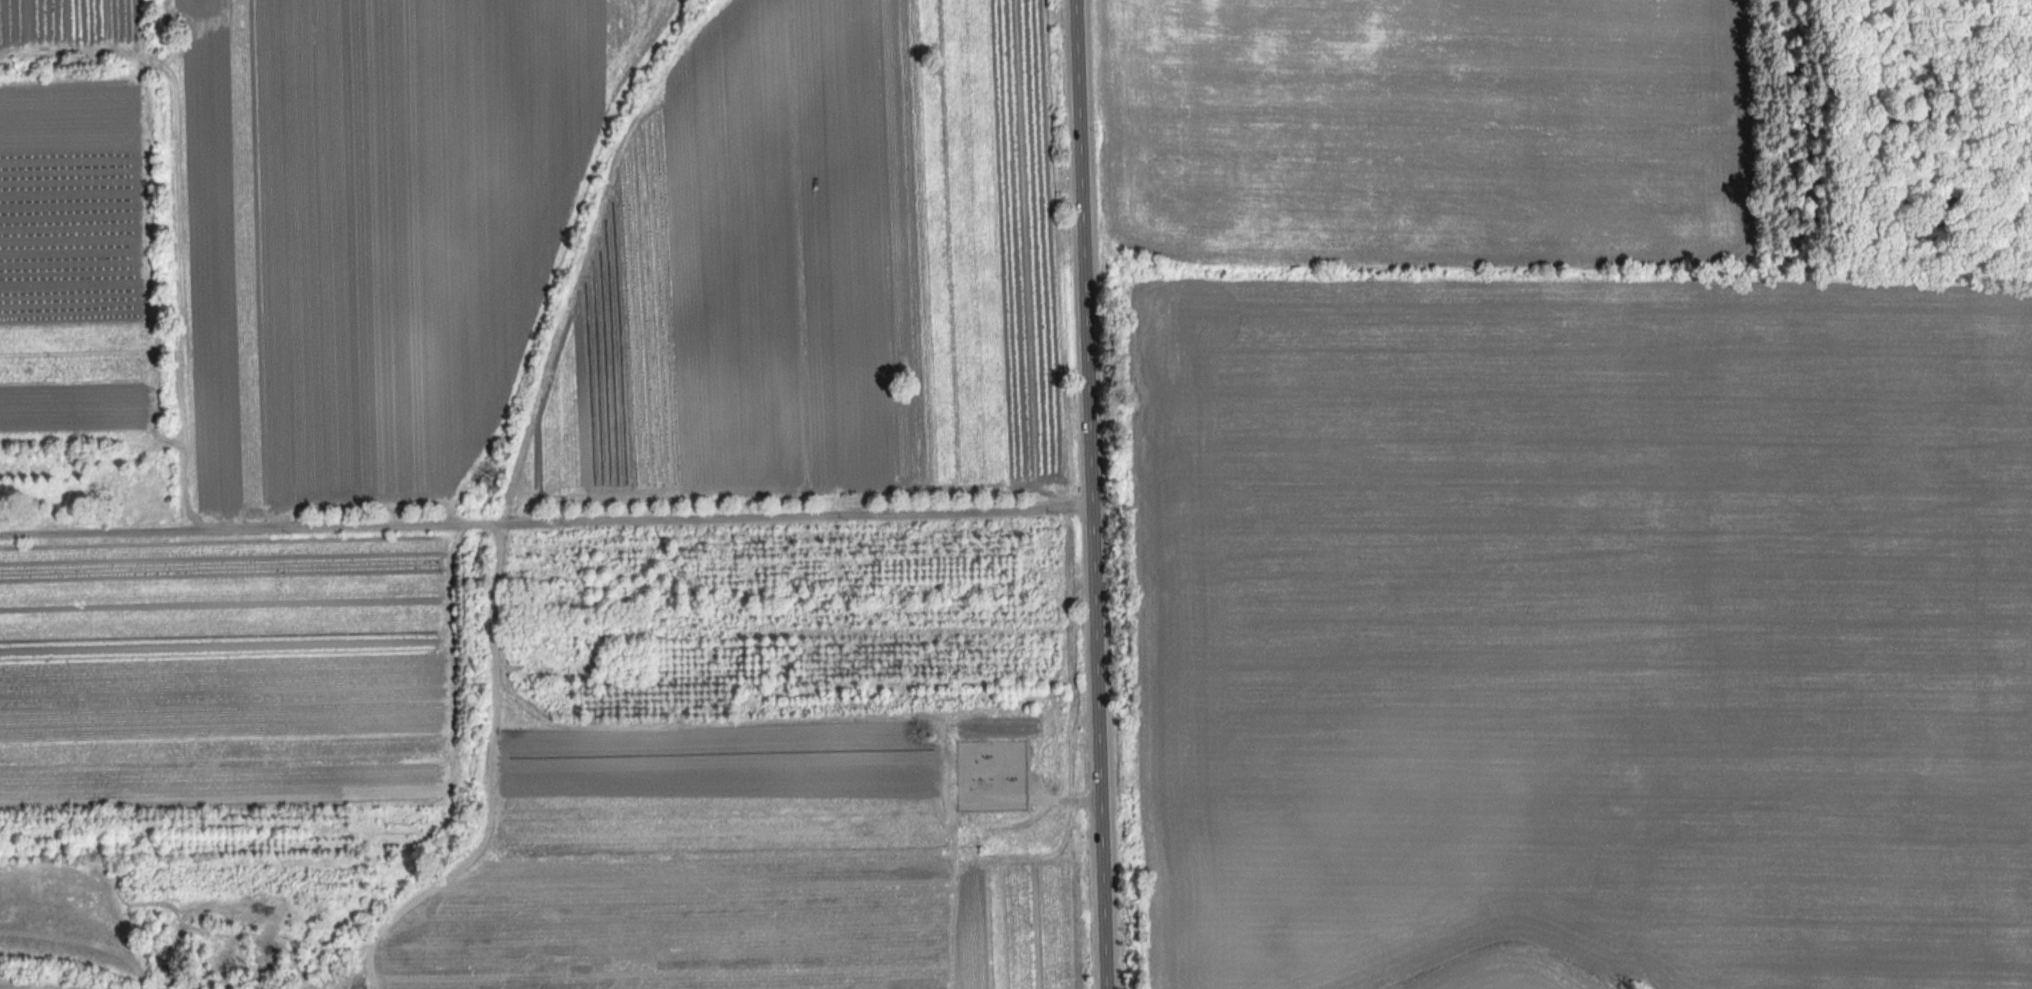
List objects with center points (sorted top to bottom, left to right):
crop: (77, 21)
crop: (1424, 126)
crop: (378, 226)
crop: (76, 262)
crop: (821, 269)
road: (1083, 494)
road: (541, 522)
crop: (1581, 636)
crop: (231, 687)
crop: (697, 865)
crop: (1036, 908)

